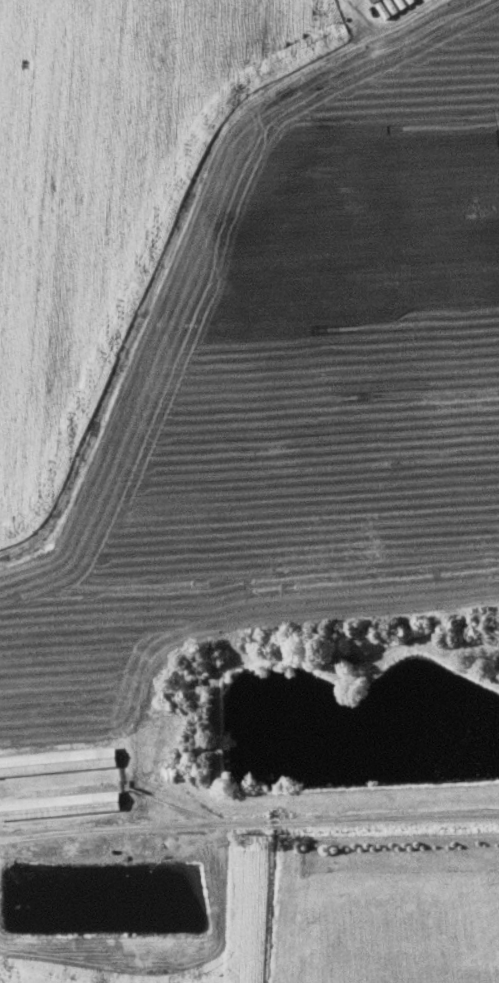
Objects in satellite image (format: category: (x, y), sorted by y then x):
building: (393, 6)
road: (382, 26)
building: (59, 762)
building: (61, 805)
road: (249, 817)

